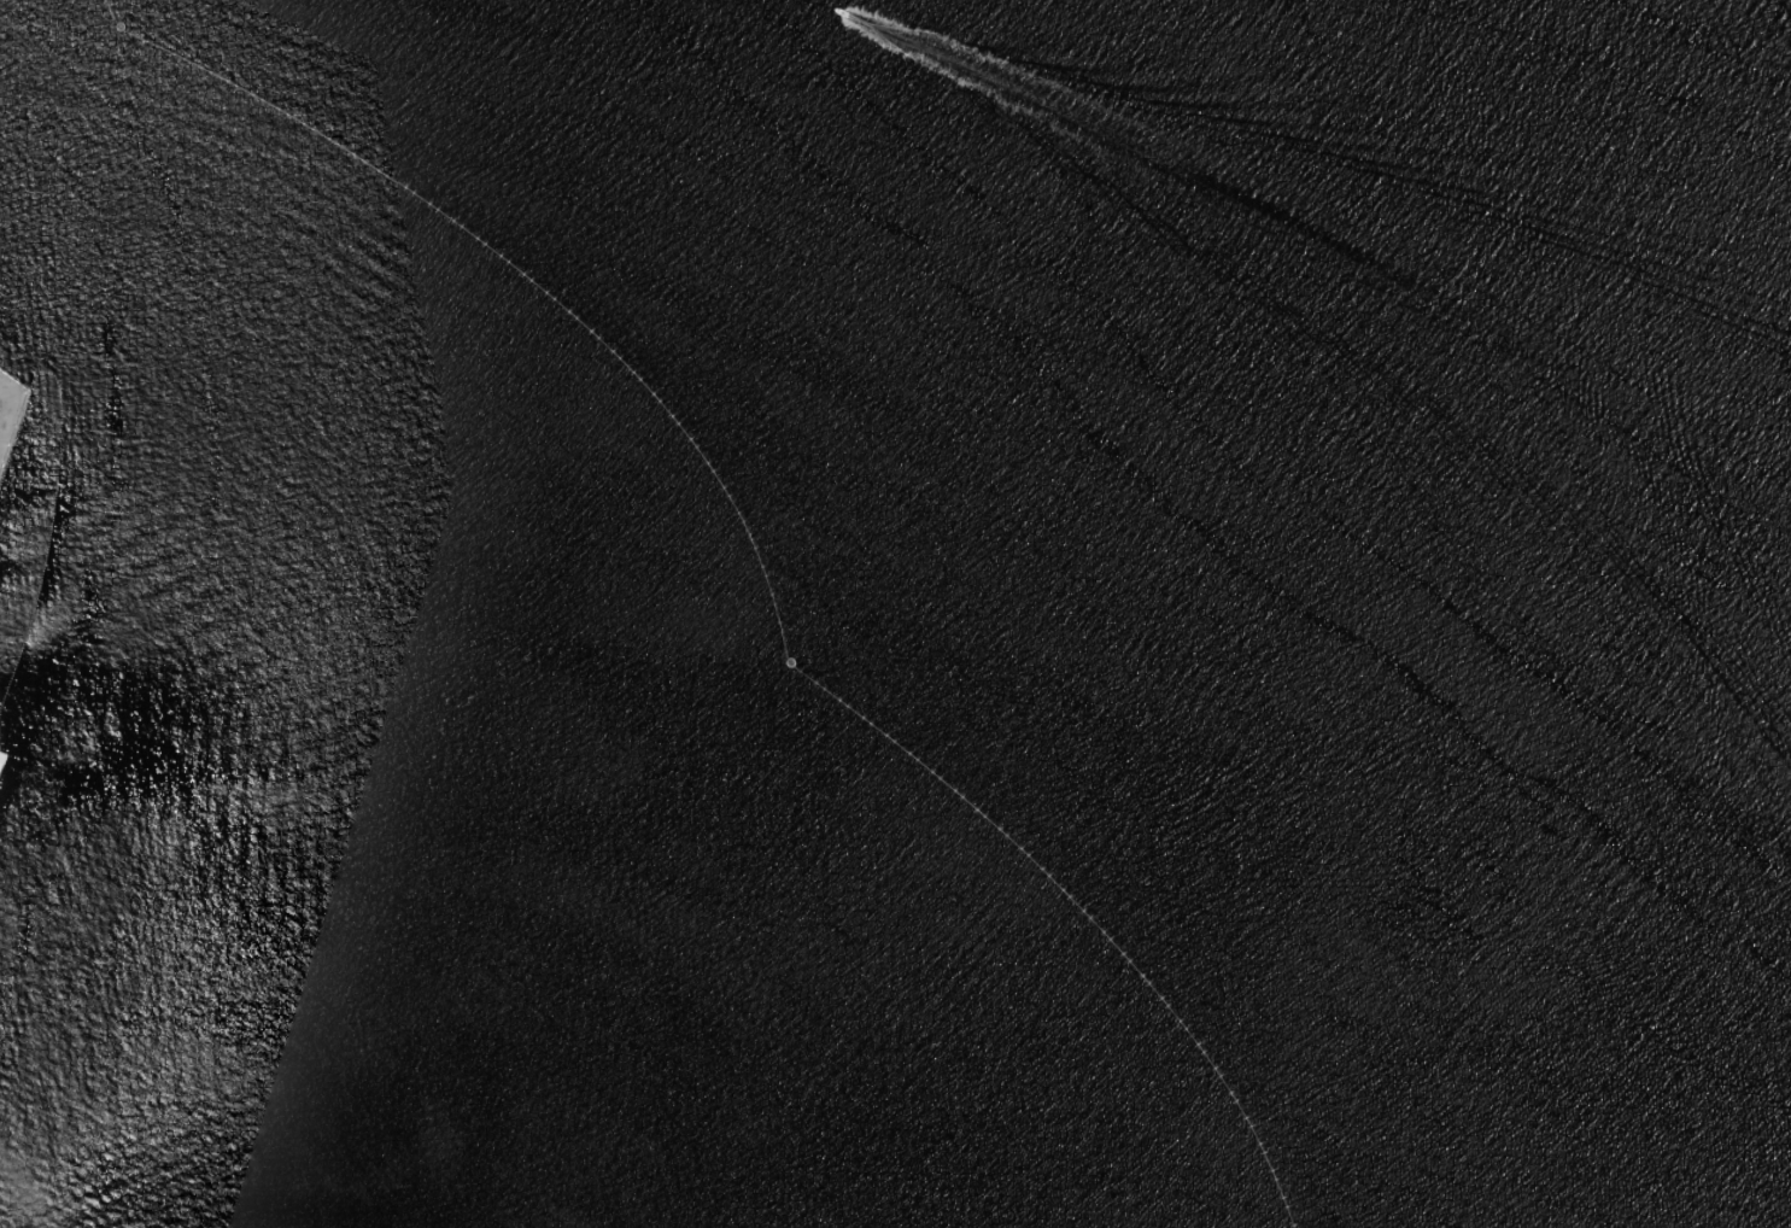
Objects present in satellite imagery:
airport: (410, 776)

